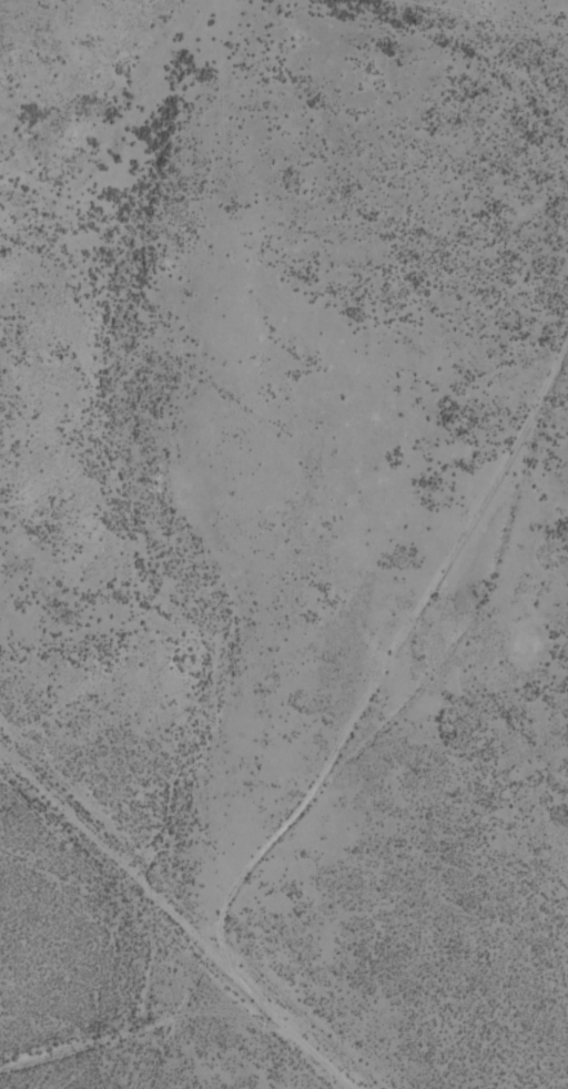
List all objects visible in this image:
road: (180, 929)

